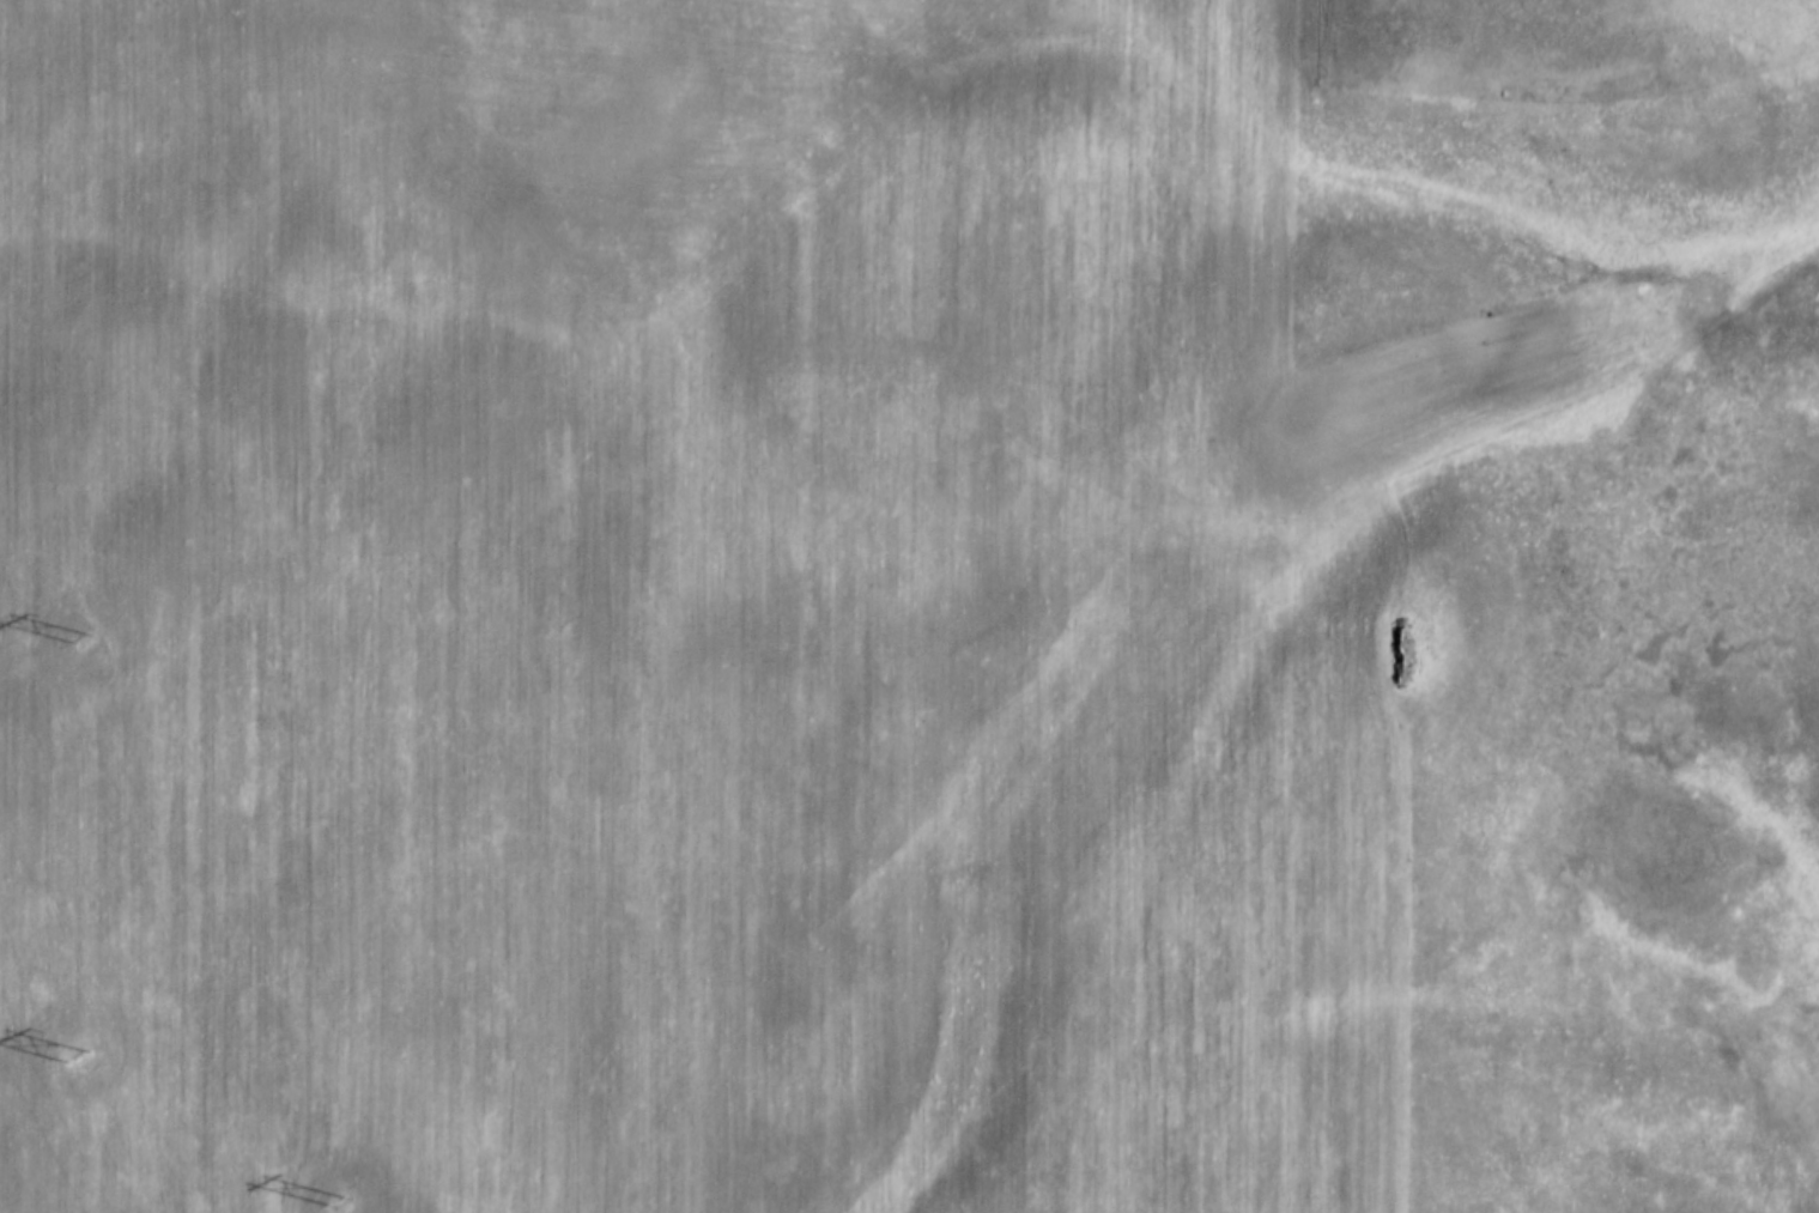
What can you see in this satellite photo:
road: (1419, 602)
power tower: (71, 647)

